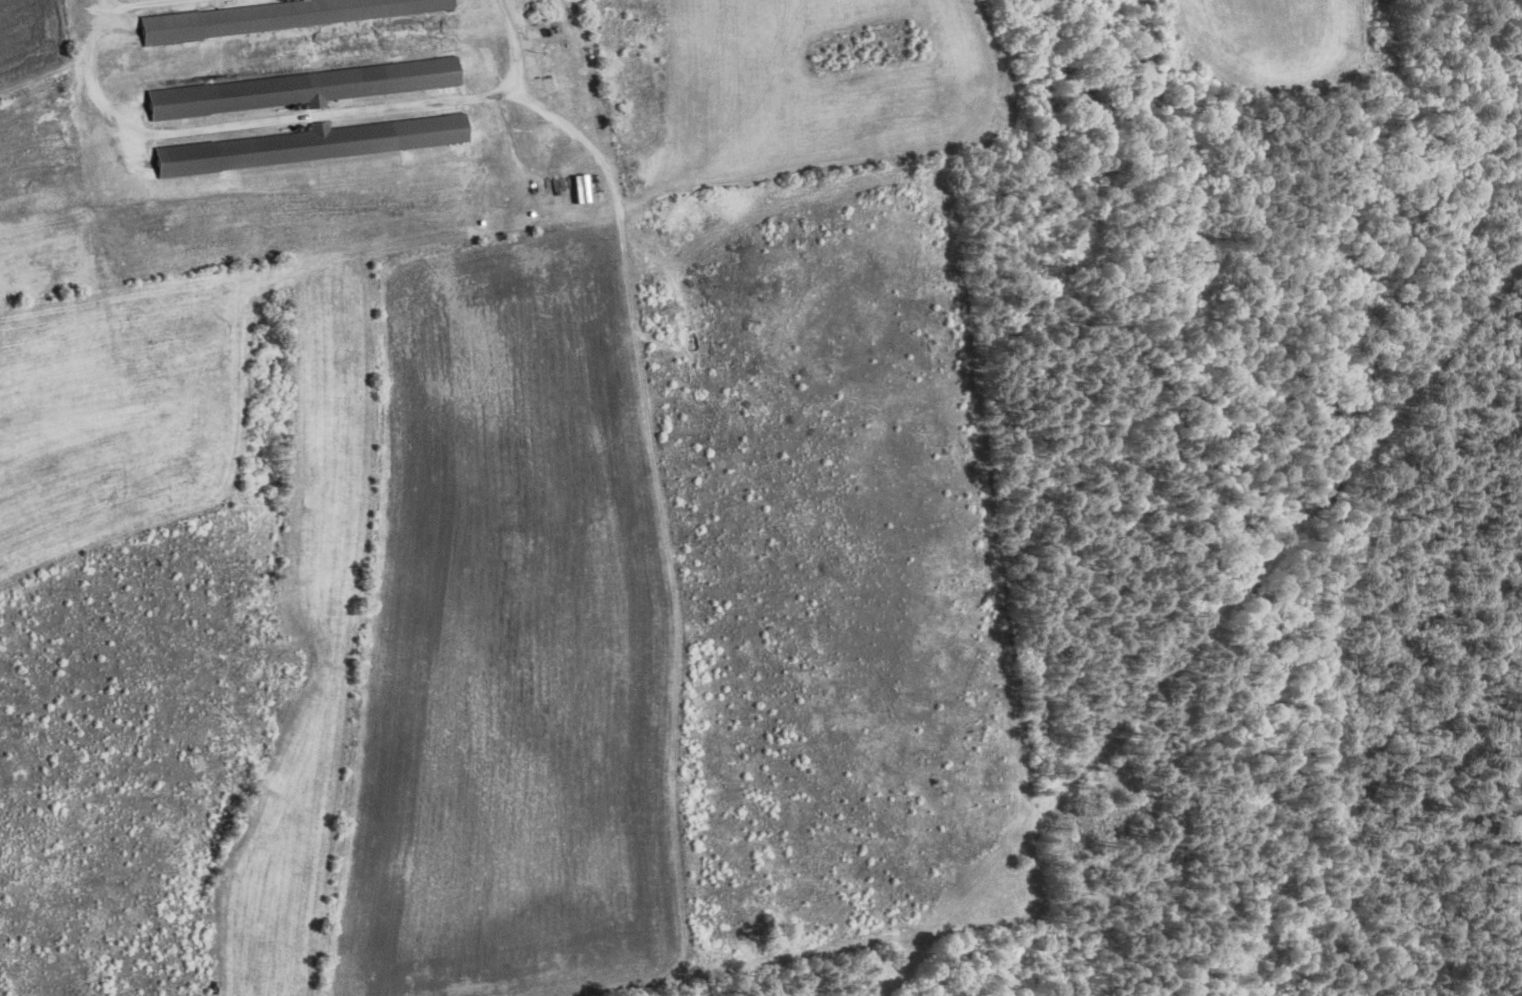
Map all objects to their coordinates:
building: (296, 87)
building: (312, 143)

